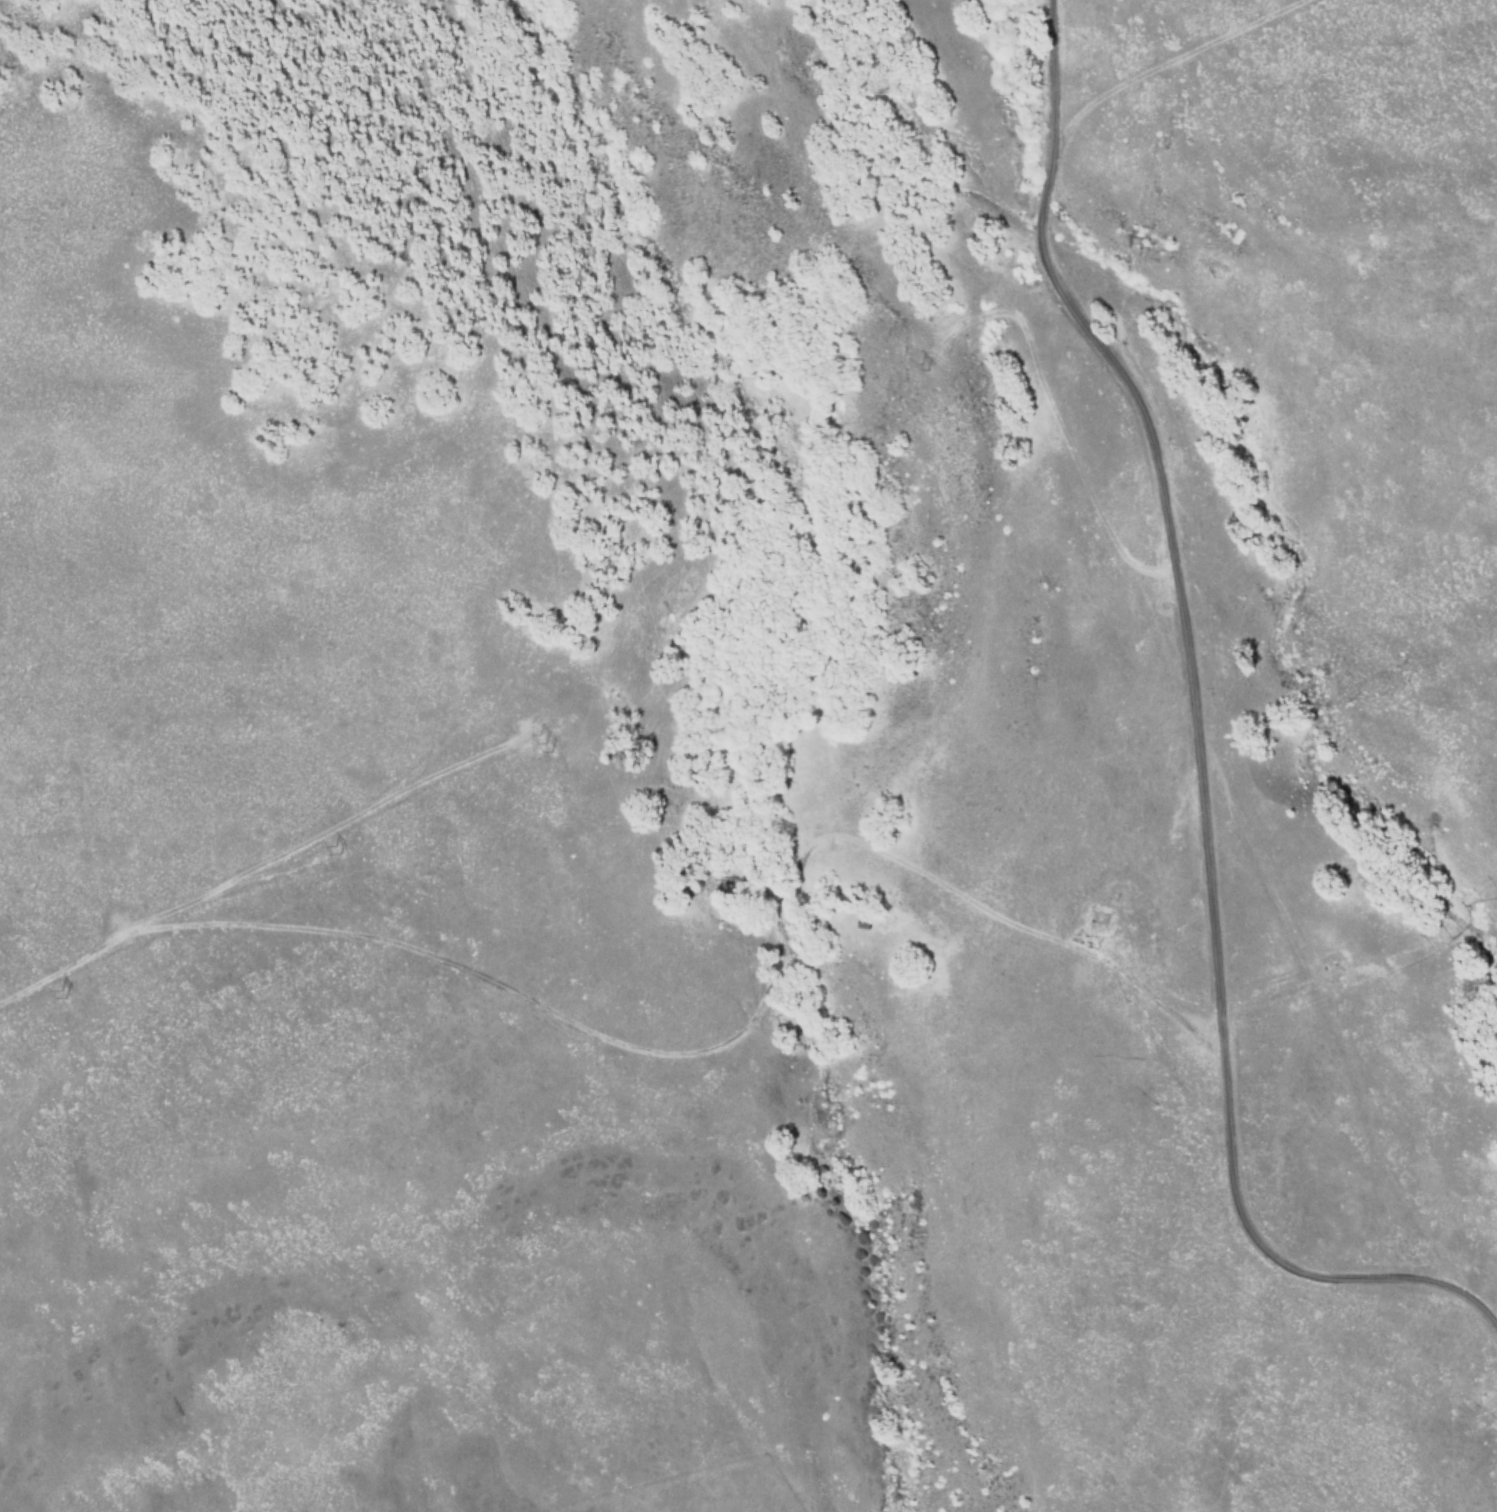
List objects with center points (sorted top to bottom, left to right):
road: (1168, 61)
power tower: (927, 366)
road: (1192, 740)
power tower: (546, 741)
power tower: (337, 851)
building: (861, 921)
power tower: (60, 996)
road: (691, 1050)

